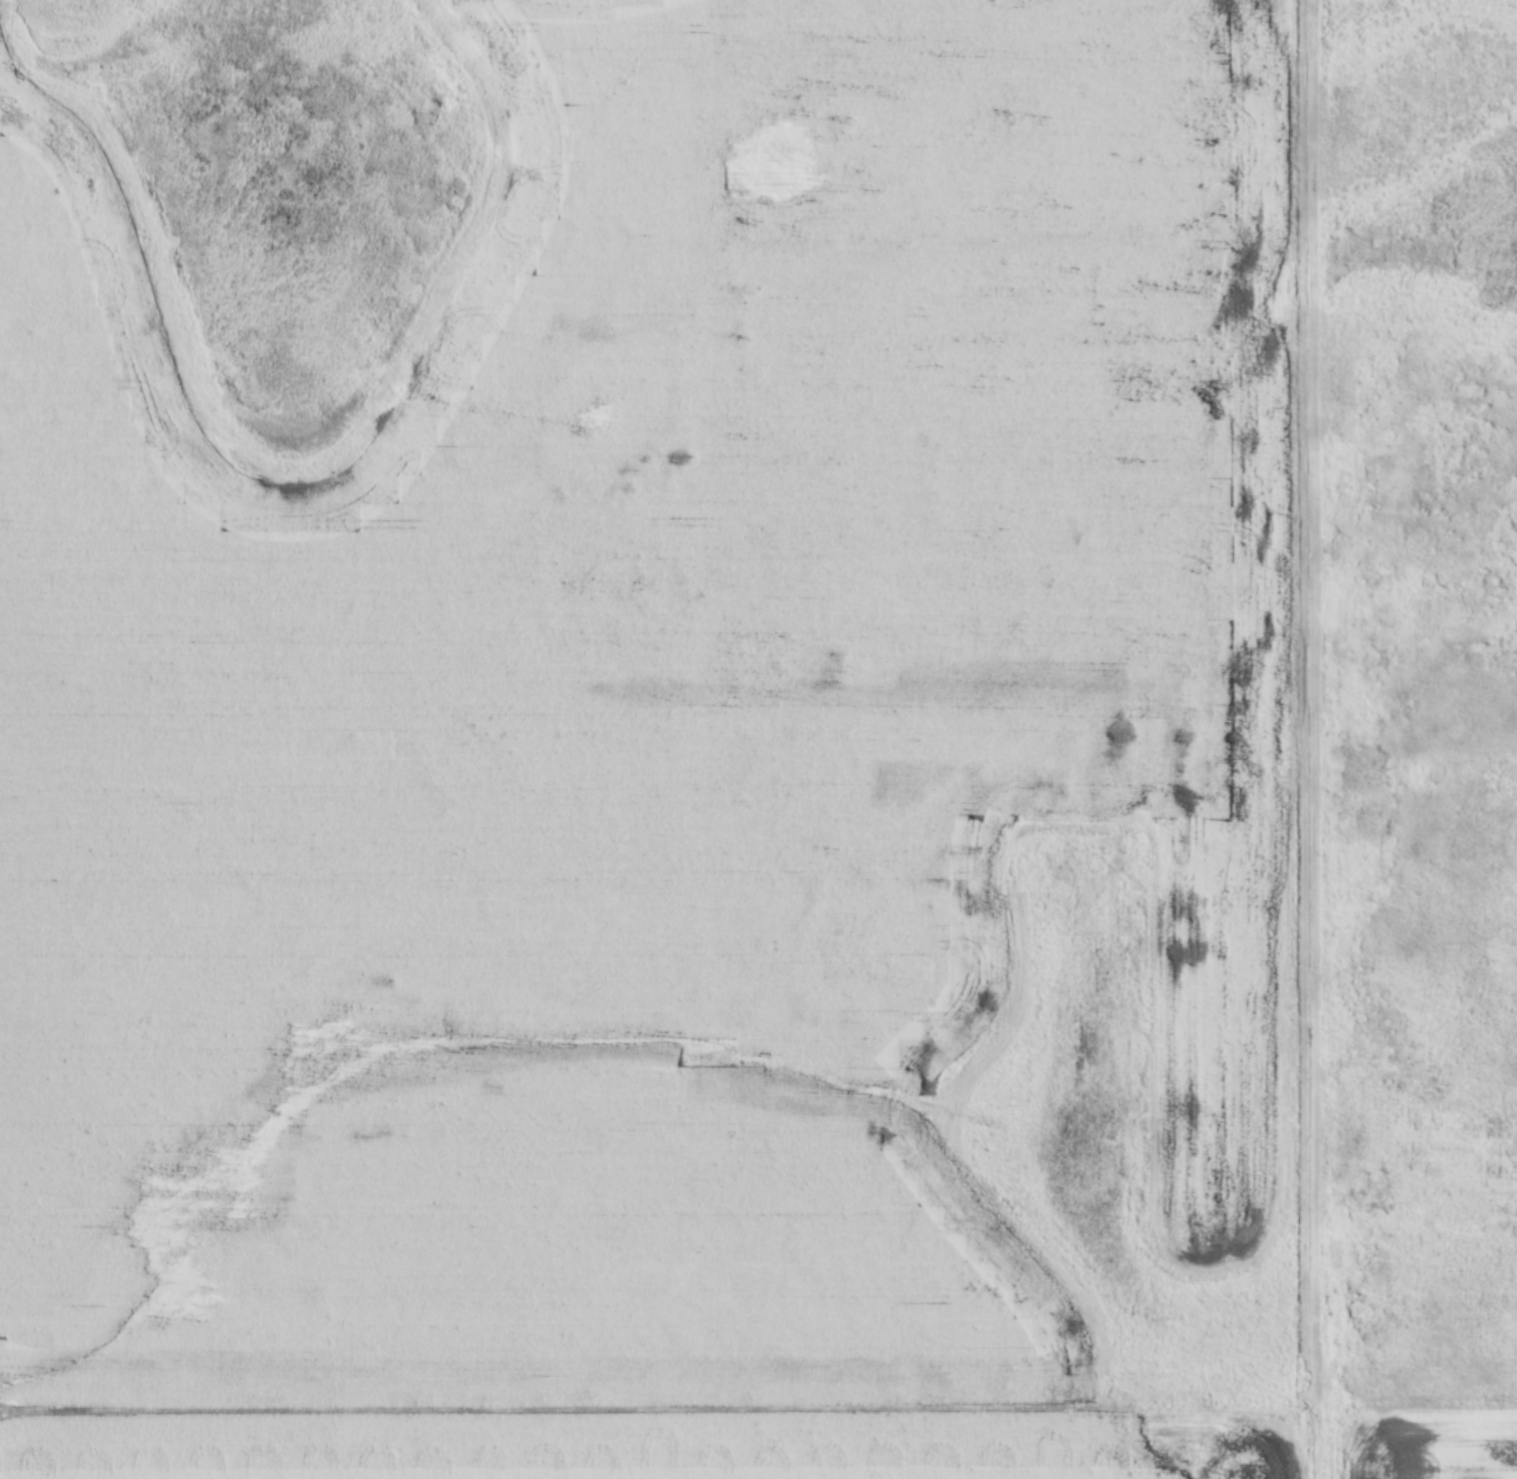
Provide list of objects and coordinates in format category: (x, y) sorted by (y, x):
road: (1320, 739)

